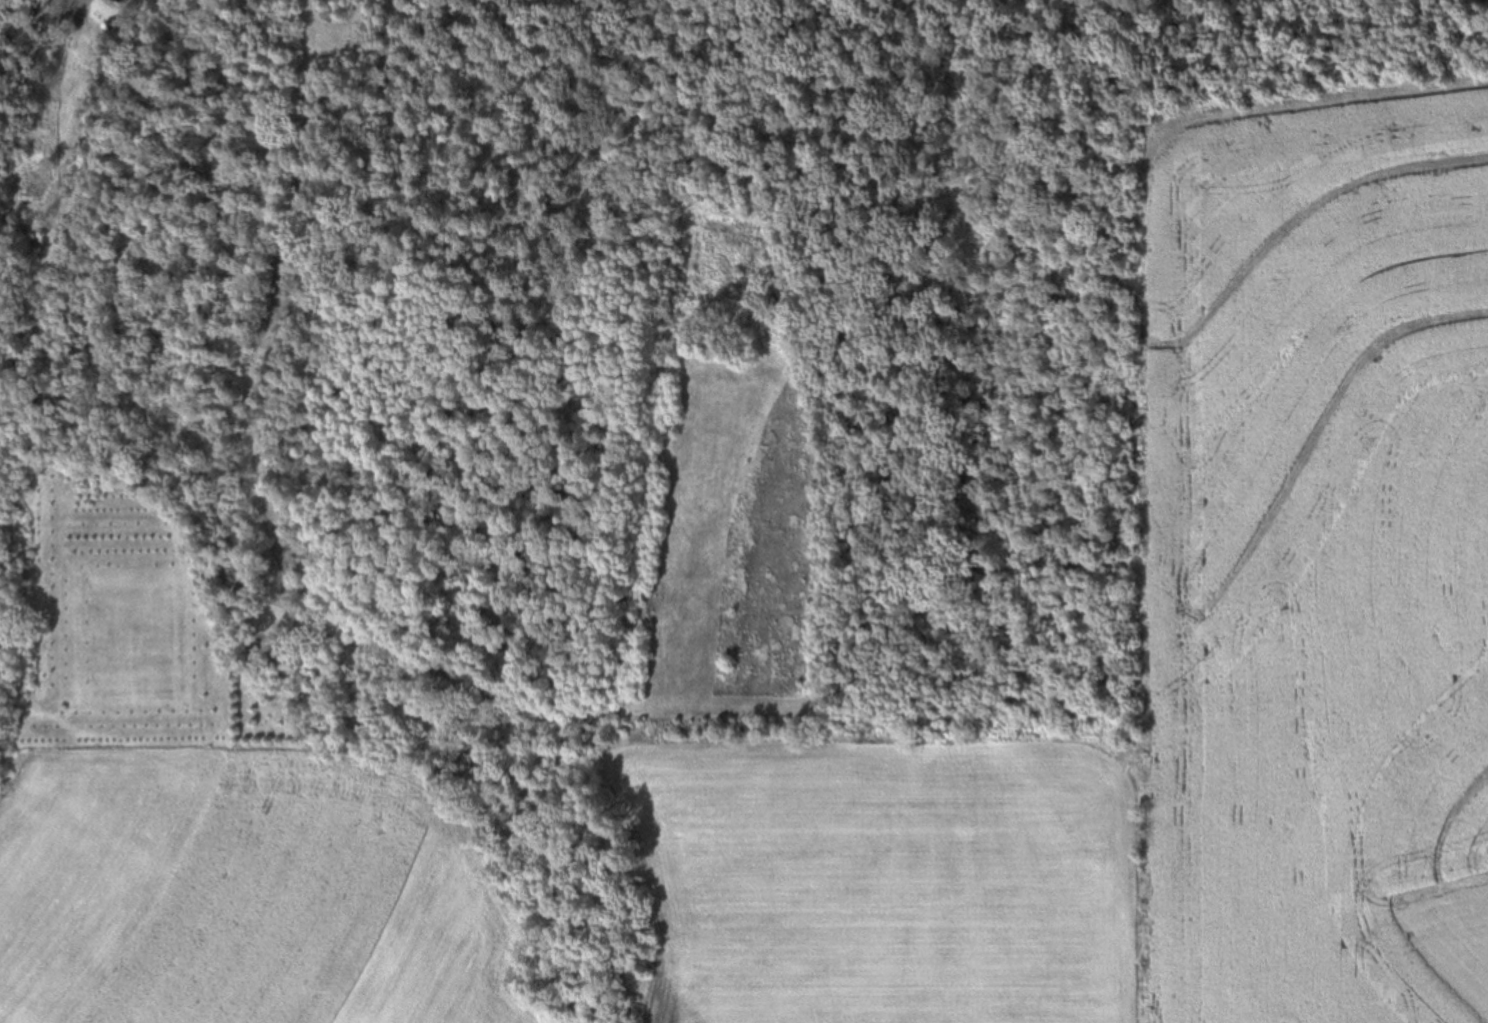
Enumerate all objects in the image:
road: (329, 859)

